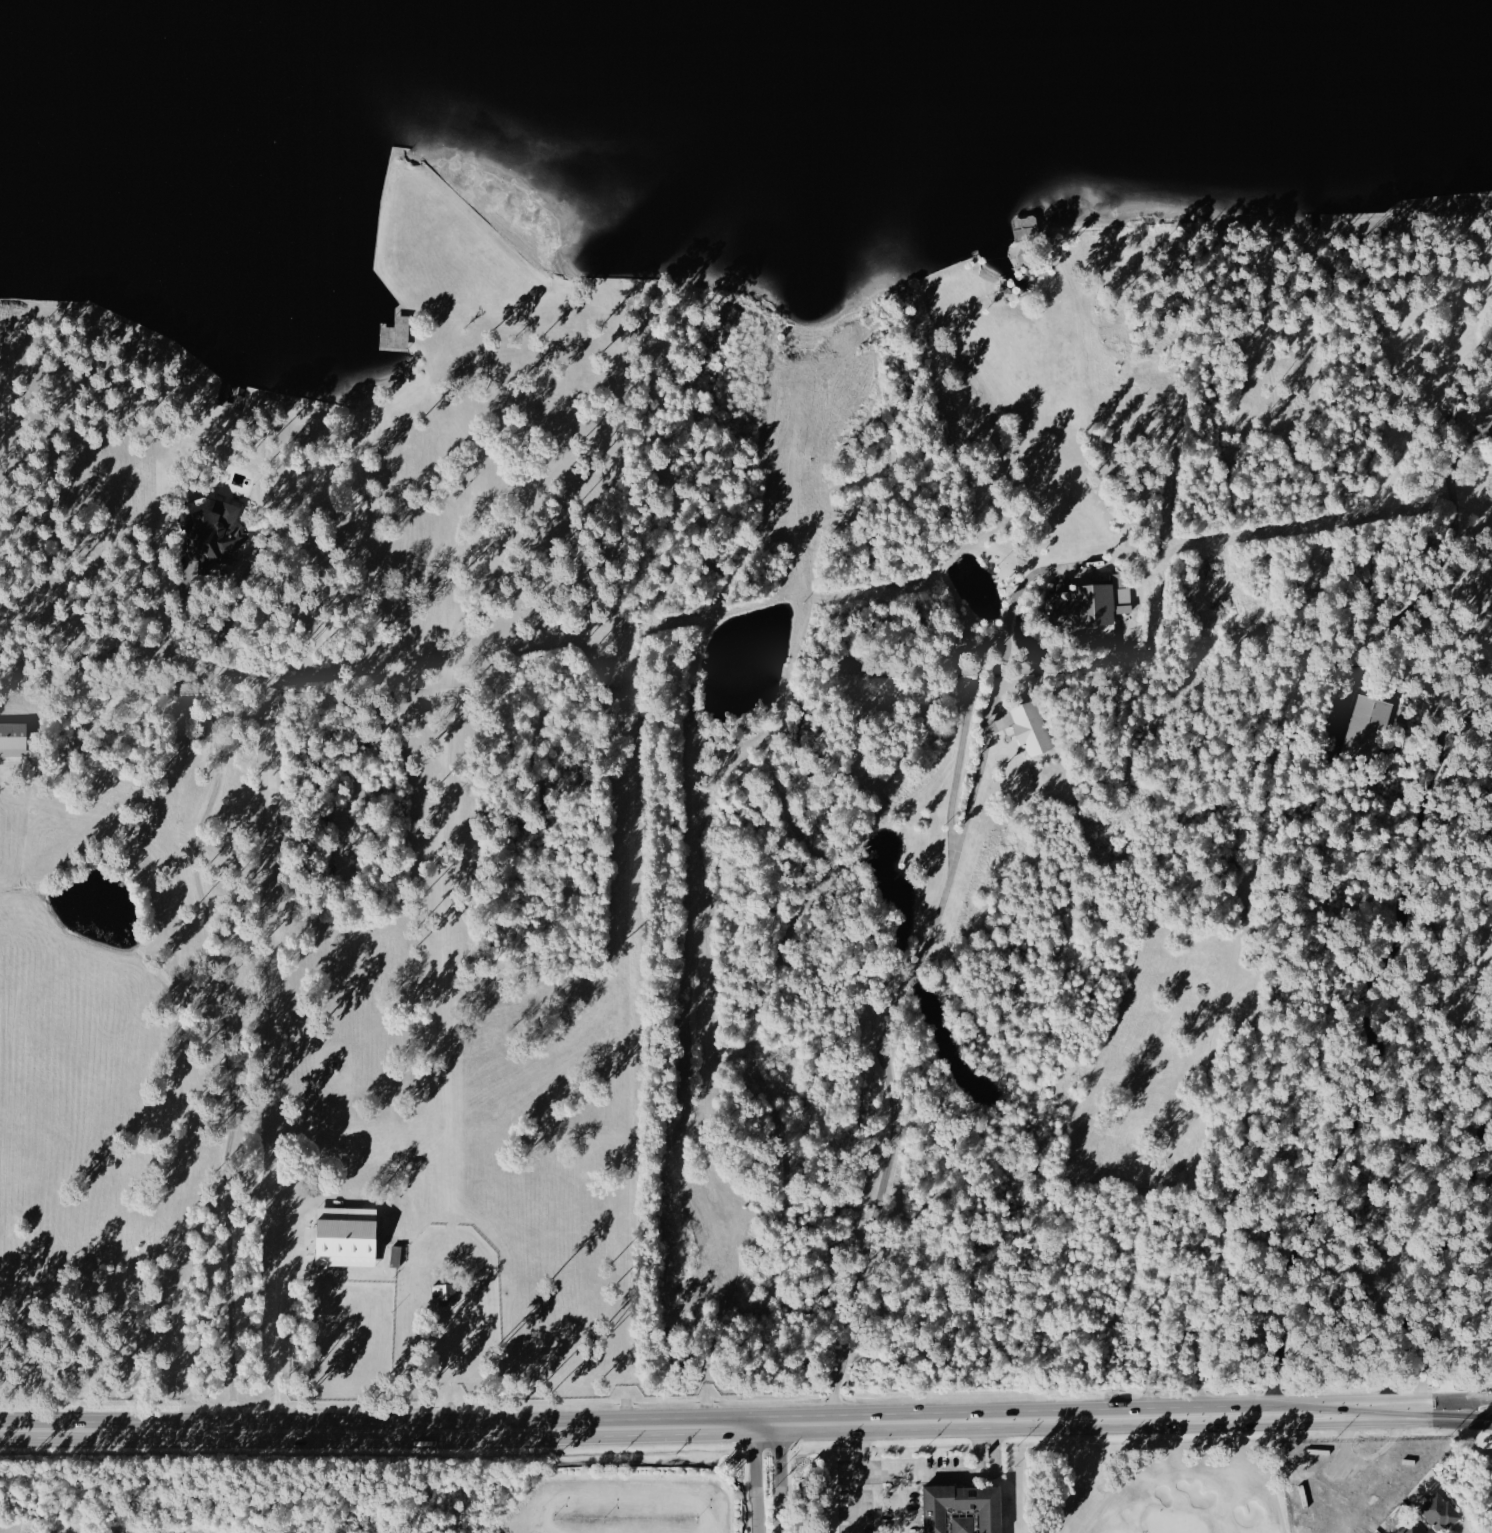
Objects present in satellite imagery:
building: (214, 529)
road: (1429, 575)
building: (1094, 602)
building: (1366, 724)
building: (1030, 728)
road: (1467, 730)
building: (13, 739)
road: (911, 966)
road: (219, 985)
road: (1367, 1083)
building: (347, 1235)
building: (396, 1255)
road: (284, 1313)
road: (625, 1361)
road: (555, 1362)
road: (1452, 1404)
road: (1452, 1419)
road: (706, 1421)
road: (983, 1427)
road: (978, 1456)
road: (989, 1456)
road: (856, 1475)
road: (913, 1475)
road: (769, 1476)
road: (877, 1476)
park: (1146, 1484)
building: (963, 1505)
building: (1439, 1511)
building: (963, 1524)
building: (1412, 1527)

